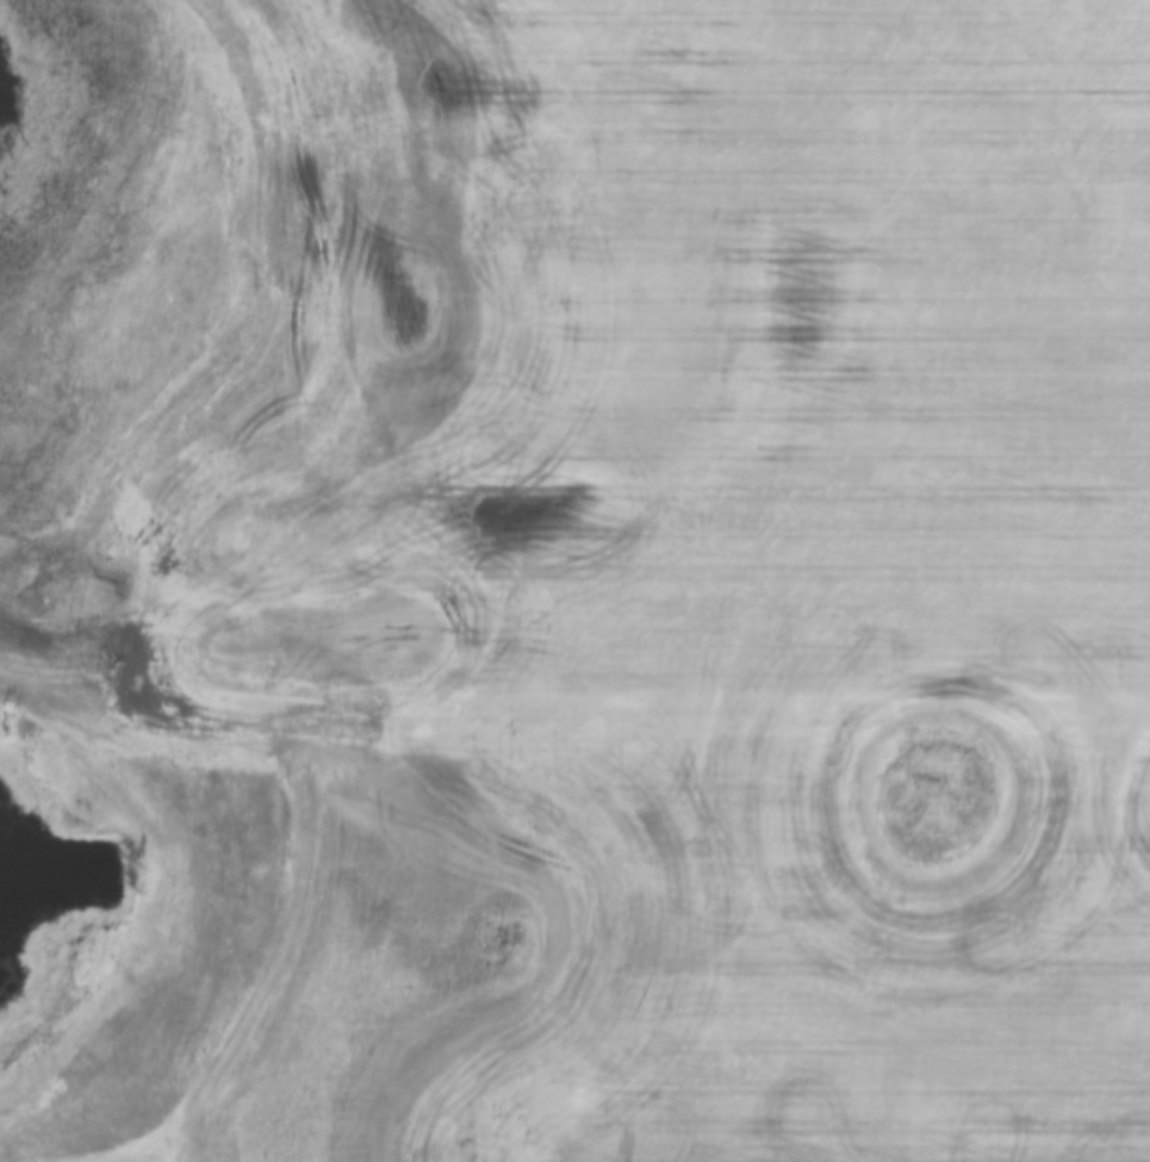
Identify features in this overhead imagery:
road: (568, 713)

